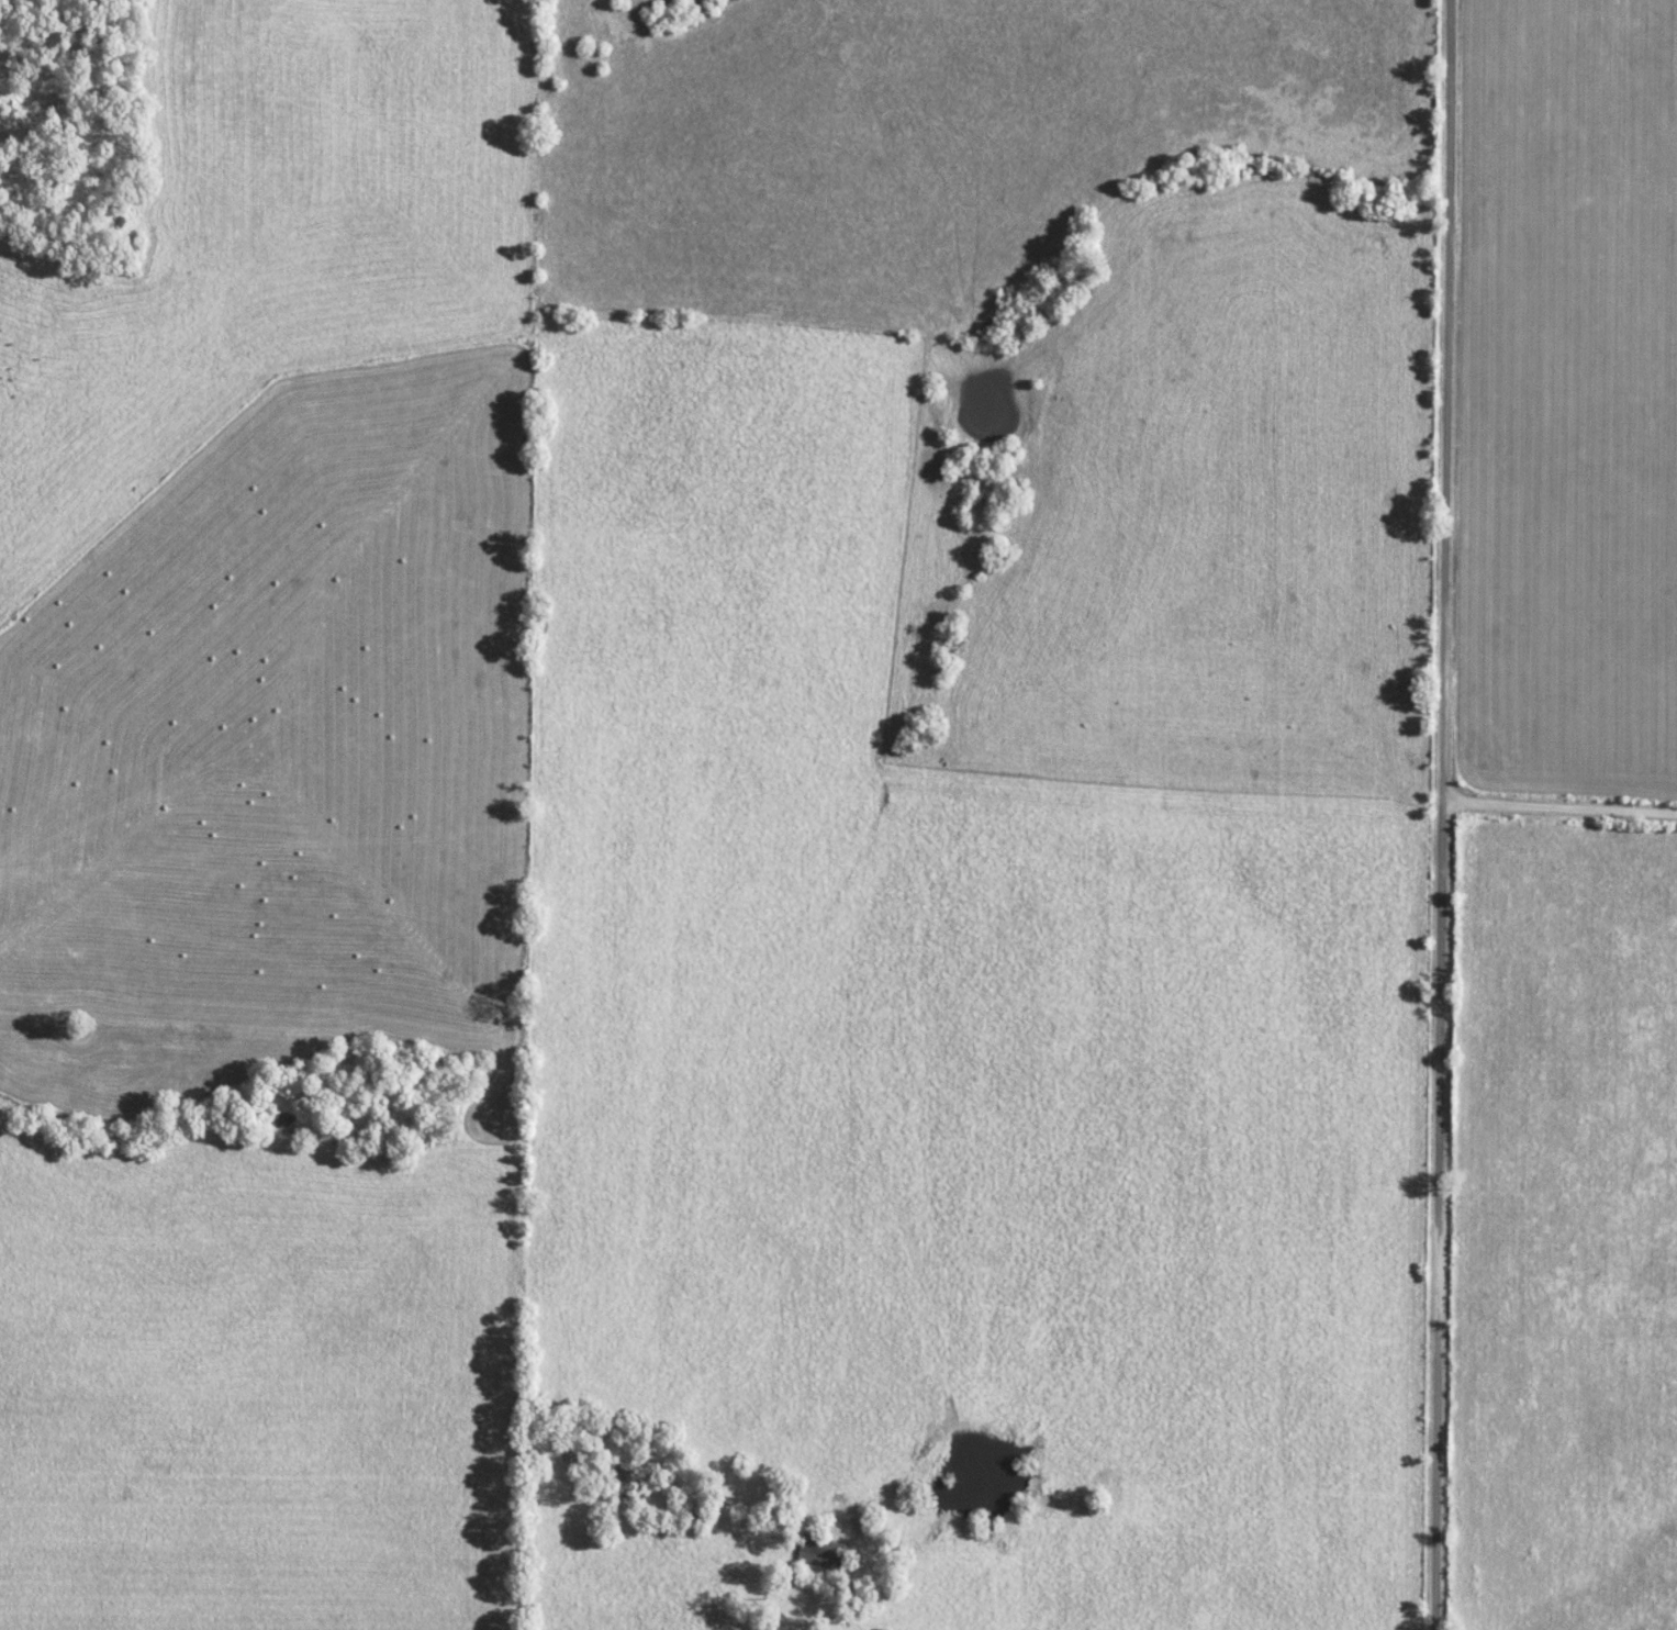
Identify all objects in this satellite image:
road: (1562, 807)
road: (1446, 815)
building: (818, 1551)

